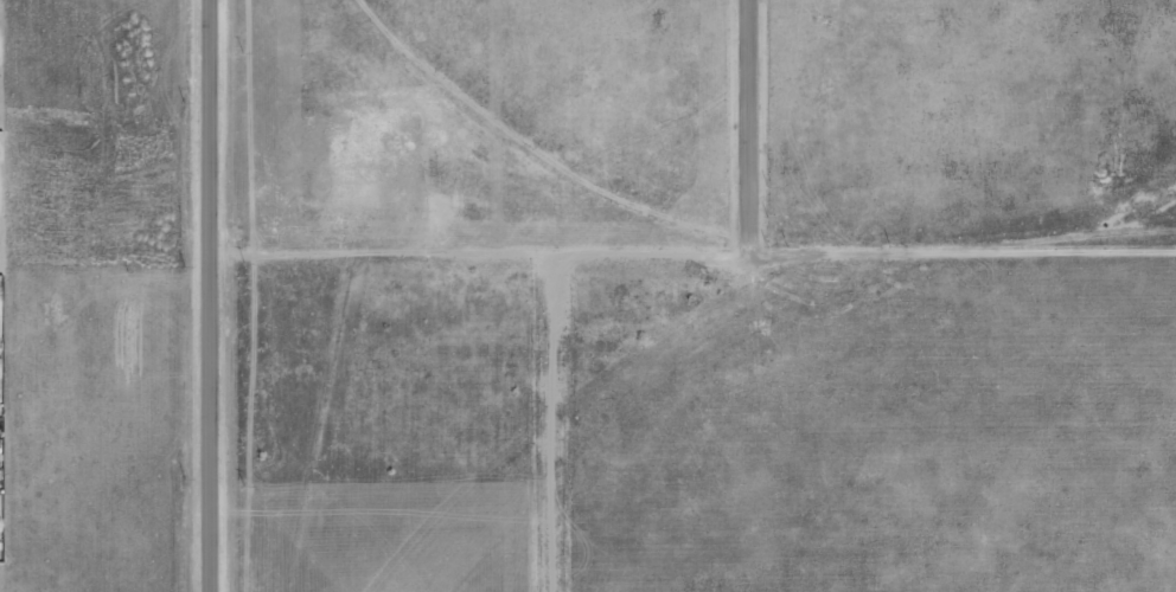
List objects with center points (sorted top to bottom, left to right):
road: (742, 126)
road: (691, 253)
road: (209, 295)
building: (0, 366)
road: (544, 424)

